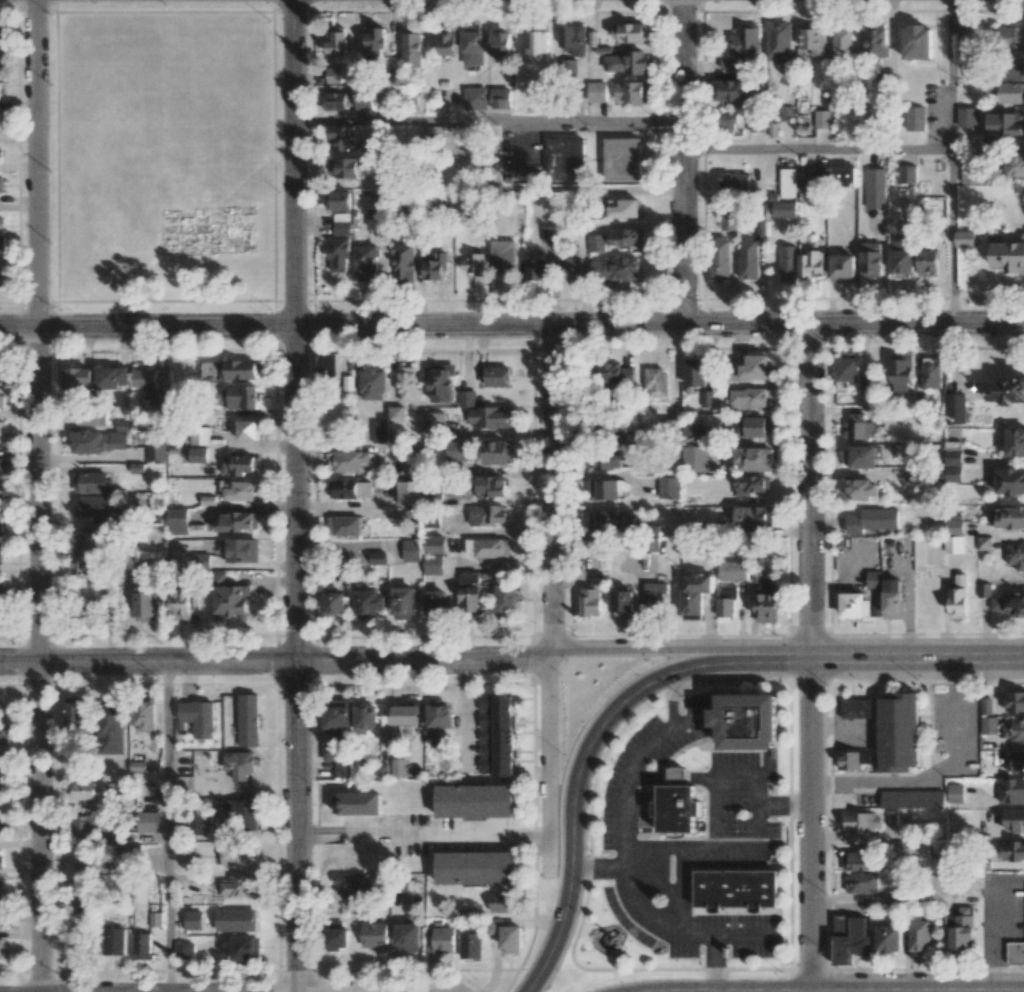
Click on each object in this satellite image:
building: (2, 31)
building: (630, 32)
building: (1011, 37)
building: (336, 40)
building: (447, 40)
building: (572, 40)
building: (875, 40)
building: (375, 41)
building: (812, 41)
building: (500, 42)
building: (745, 42)
building: (778, 42)
building: (917, 42)
building: (842, 43)
building: (473, 45)
building: (538, 46)
building: (964, 46)
building: (411, 48)
building: (626, 62)
building: (1, 63)
building: (728, 63)
building: (1014, 70)
building: (333, 74)
road: (950, 75)
building: (883, 83)
building: (731, 90)
building: (596, 91)
building: (631, 91)
building: (1012, 92)
building: (365, 98)
building: (475, 98)
building: (500, 98)
building: (335, 100)
building: (786, 113)
building: (967, 117)
building: (822, 118)
building: (915, 118)
road: (489, 120)
building: (727, 122)
building: (1003, 125)
building: (342, 137)
road: (818, 150)
park: (163, 155)
building: (622, 158)
building: (566, 159)
road: (685, 161)
road: (37, 163)
road: (294, 163)
building: (1012, 166)
building: (344, 167)
building: (968, 171)
building: (907, 174)
building: (814, 176)
building: (841, 176)
building: (734, 182)
building: (787, 182)
building: (1, 185)
building: (875, 188)
road: (594, 190)
building: (338, 199)
building: (623, 208)
building: (782, 208)
building: (375, 217)
building: (728, 218)
building: (0, 219)
building: (342, 223)
building: (549, 234)
building: (625, 236)
road: (951, 236)
building: (965, 238)
building: (2, 242)
building: (596, 242)
building: (338, 254)
building: (902, 254)
building: (505, 256)
building: (1009, 256)
building: (748, 258)
building: (720, 259)
building: (870, 259)
building: (403, 260)
building: (366, 262)
building: (928, 262)
building: (473, 263)
building: (788, 263)
building: (811, 263)
building: (434, 264)
building: (539, 268)
building: (571, 268)
building: (615, 268)
building: (842, 268)
building: (1, 277)
road: (512, 326)
building: (328, 365)
building: (847, 367)
building: (750, 368)
building: (210, 369)
building: (238, 369)
building: (695, 372)
building: (901, 372)
building: (930, 372)
building: (615, 373)
building: (493, 374)
building: (2, 375)
building: (112, 377)
building: (78, 378)
building: (440, 382)
building: (655, 382)
building: (372, 383)
building: (408, 384)
building: (149, 386)
building: (1006, 390)
building: (712, 394)
building: (243, 397)
building: (465, 398)
building: (748, 398)
building: (2, 401)
building: (955, 408)
building: (396, 414)
building: (90, 416)
building: (490, 417)
building: (434, 422)
building: (754, 426)
building: (859, 426)
building: (248, 429)
building: (1, 430)
building: (379, 431)
building: (693, 432)
building: (200, 435)
building: (99, 441)
building: (1015, 441)
building: (156, 450)
building: (458, 450)
building: (498, 452)
building: (198, 454)
building: (860, 456)
building: (694, 458)
building: (753, 458)
building: (605, 459)
building: (351, 460)
building: (239, 464)
building: (408, 464)
building: (953, 464)
building: (2, 466)
building: (1009, 481)
building: (91, 482)
building: (751, 484)
building: (491, 487)
building: (669, 487)
building: (351, 488)
building: (607, 488)
building: (862, 489)
building: (240, 490)
building: (409, 492)
road: (295, 494)
building: (1, 495)
building: (95, 506)
building: (487, 515)
building: (753, 516)
building: (1007, 517)
building: (177, 520)
building: (872, 520)
building: (236, 521)
building: (603, 521)
building: (1, 523)
building: (344, 525)
building: (954, 525)
building: (91, 536)
building: (984, 543)
building: (436, 544)
building: (954, 544)
building: (488, 548)
building: (241, 550)
building: (411, 550)
building: (1, 551)
building: (377, 557)
building: (1016, 557)
building: (433, 564)
building: (85, 565)
building: (733, 570)
building: (756, 574)
building: (874, 579)
building: (0, 585)
building: (984, 590)
building: (729, 592)
building: (472, 593)
building: (654, 593)
building: (695, 594)
building: (958, 597)
building: (507, 598)
building: (893, 598)
road: (552, 599)
building: (592, 599)
building: (232, 602)
building: (335, 602)
building: (438, 602)
building: (369, 603)
building: (405, 603)
building: (767, 603)
building: (1009, 604)
building: (180, 605)
building: (855, 605)
building: (145, 606)
building: (725, 607)
road: (679, 648)
road: (810, 657)
road: (917, 657)
road: (39, 659)
road: (274, 661)
road: (671, 701)
building: (1014, 701)
building: (986, 706)
building: (859, 708)
building: (76, 711)
building: (337, 713)
building: (440, 714)
building: (406, 715)
building: (145, 716)
building: (198, 717)
building: (366, 717)
road: (464, 717)
building: (748, 718)
building: (248, 719)
building: (989, 725)
building: (112, 728)
building: (1014, 729)
parking lot: (954, 731)
building: (897, 732)
building: (4, 733)
building: (496, 735)
road: (589, 749)
building: (340, 758)
building: (853, 758)
building: (239, 762)
building: (1016, 762)
building: (0, 764)
building: (138, 766)
building: (398, 767)
parking lot: (646, 767)
road: (633, 772)
road: (937, 776)
road: (672, 777)
building: (87, 790)
building: (1011, 790)
building: (0, 791)
building: (955, 793)
road: (756, 794)
building: (912, 798)
building: (475, 801)
building: (360, 803)
building: (676, 804)
road: (784, 805)
parking lot: (743, 810)
building: (243, 813)
building: (1014, 820)
building: (149, 822)
building: (197, 822)
building: (863, 822)
building: (88, 823)
building: (0, 826)
road: (167, 826)
road: (295, 826)
road: (399, 830)
building: (909, 847)
road: (659, 849)
building: (1011, 851)
building: (239, 855)
building: (90, 859)
building: (1, 861)
building: (189, 861)
building: (858, 861)
building: (475, 866)
road: (633, 867)
building: (353, 882)
building: (860, 882)
building: (240, 886)
building: (736, 887)
building: (2, 888)
building: (502, 902)
building: (83, 906)
road: (638, 910)
road: (988, 917)
building: (155, 919)
building: (961, 928)
building: (375, 935)
building: (507, 935)
parking lot: (714, 935)
building: (407, 937)
road: (681, 937)
building: (919, 937)
building: (337, 938)
building: (850, 938)
building: (888, 938)
building: (440, 939)
building: (115, 941)
building: (470, 945)
building: (142, 946)
building: (1, 947)
building: (242, 949)
building: (185, 950)
building: (1015, 953)
road: (714, 964)
road: (334, 991)

